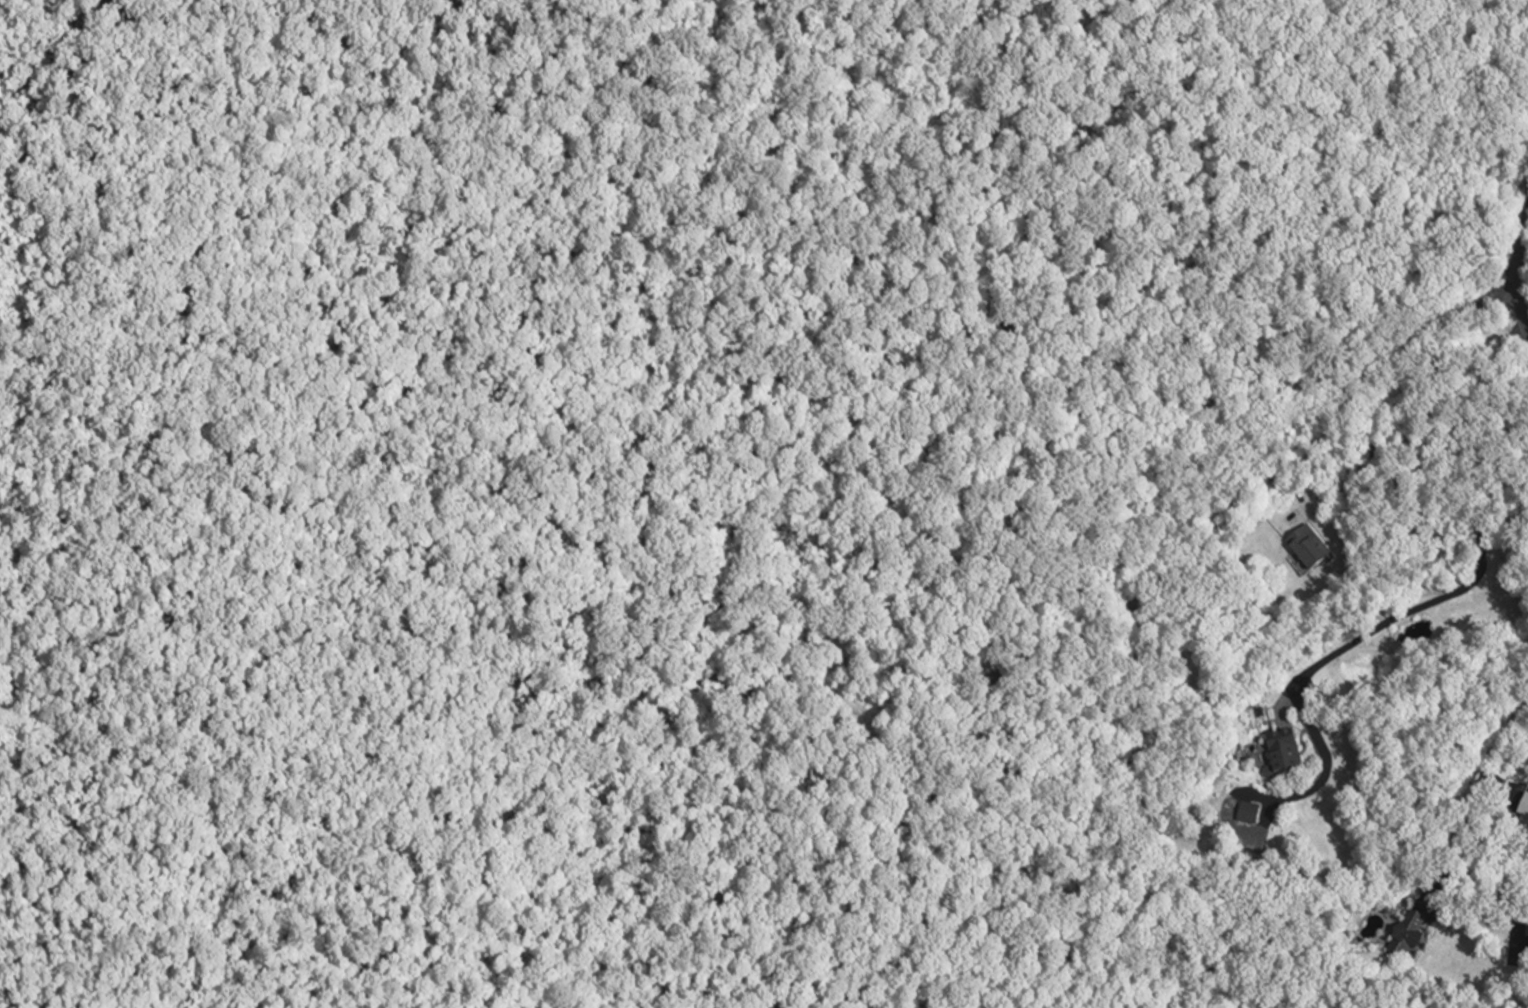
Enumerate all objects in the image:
road: (1521, 243)
road: (1521, 311)
road: (1402, 398)
building: (1308, 545)
road: (493, 557)
road: (1153, 567)
road: (1371, 630)
road: (835, 710)
building: (1282, 750)
road: (1468, 799)
building: (1523, 807)
building: (1247, 810)
road: (1087, 858)
road: (1488, 870)
building: (1524, 929)
building: (1405, 932)

